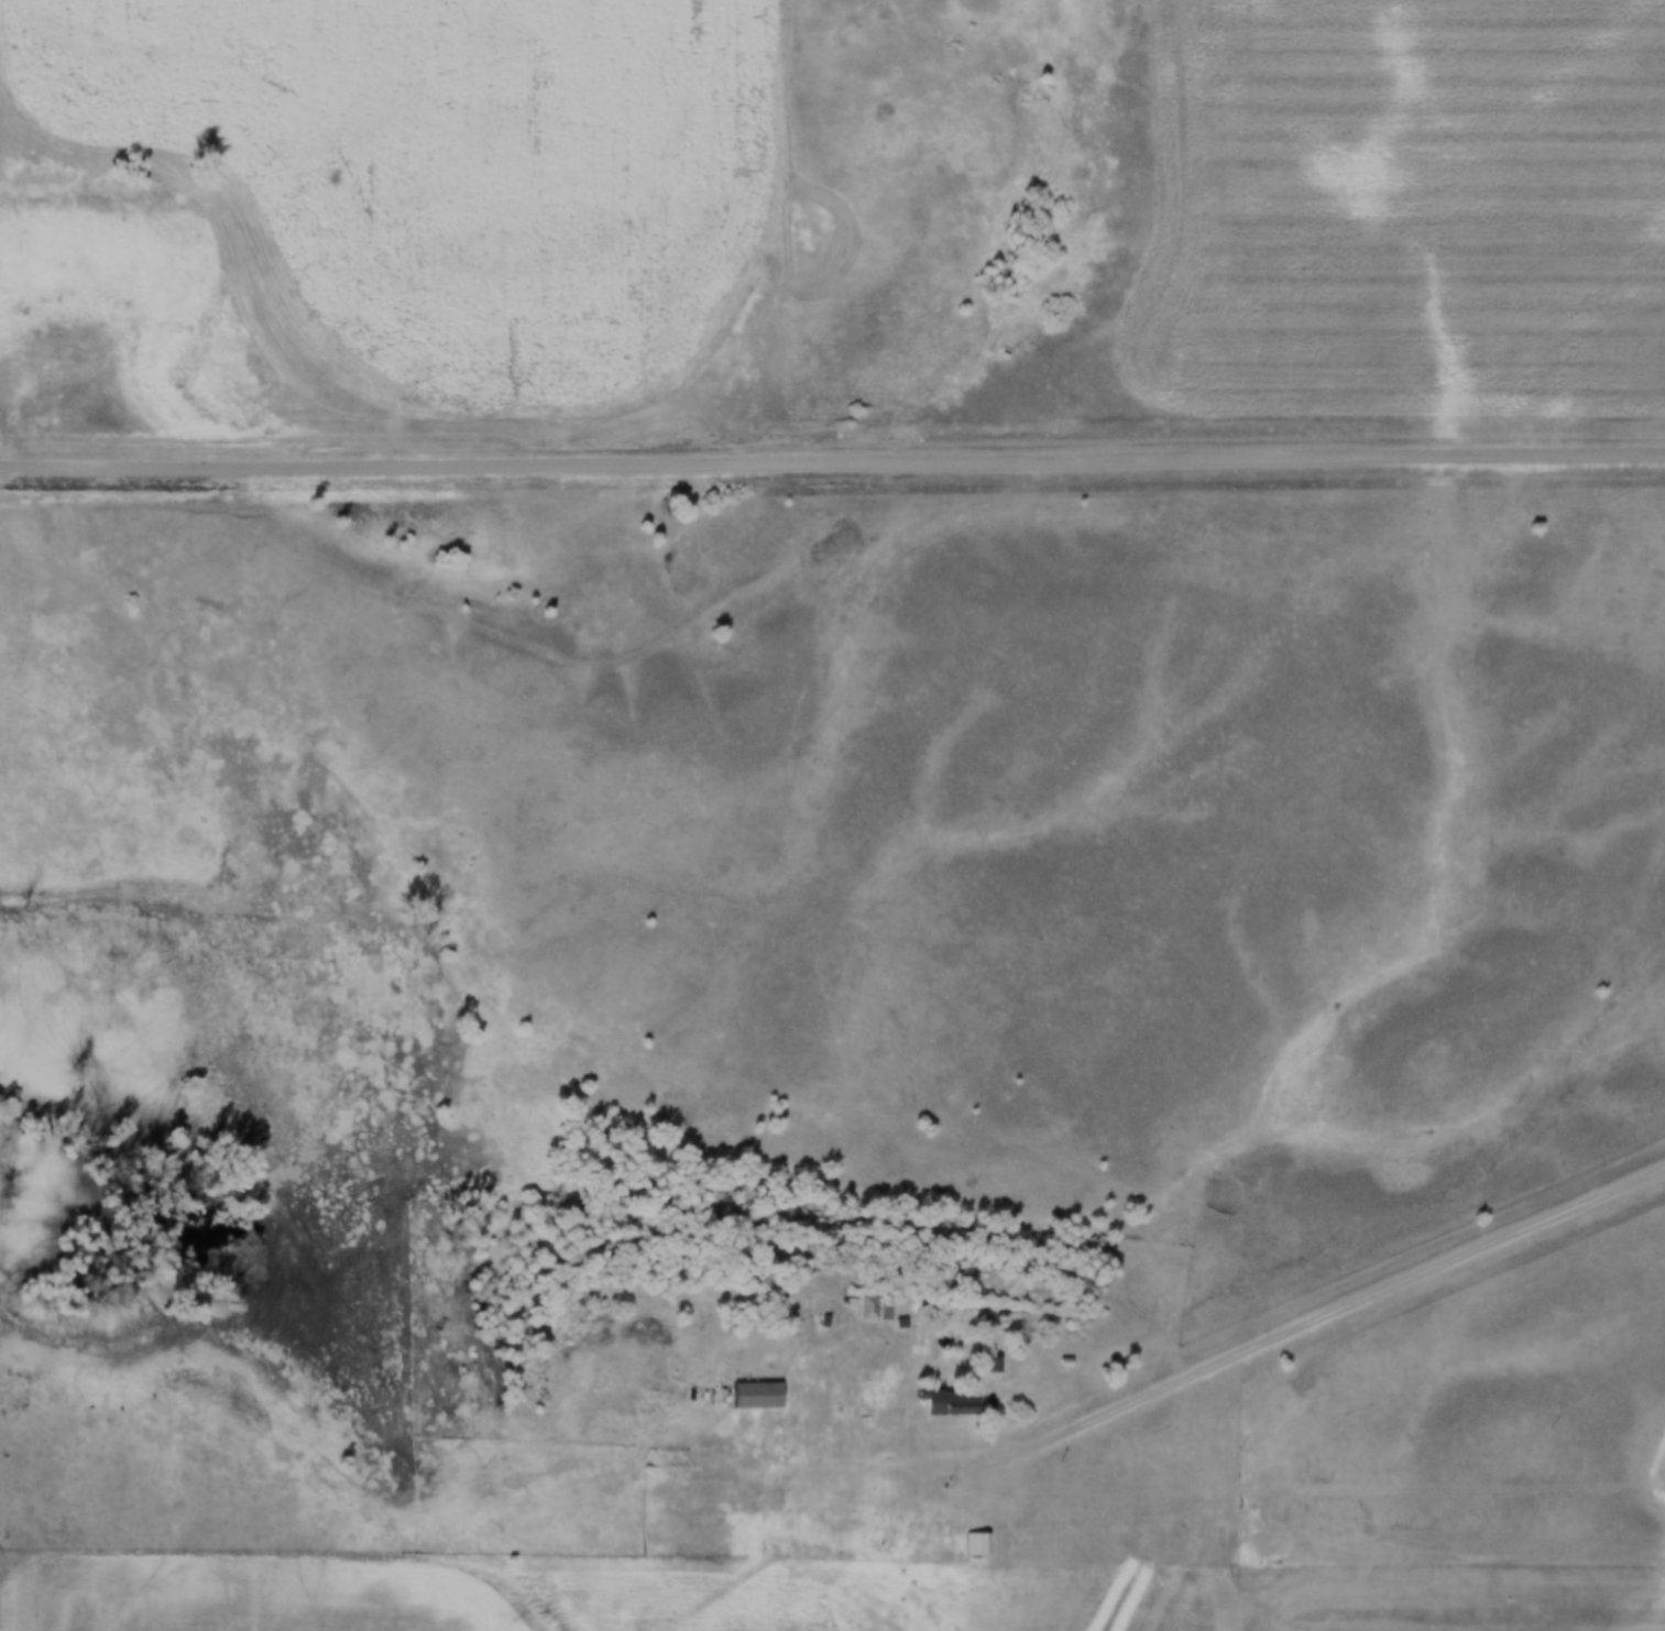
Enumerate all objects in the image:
road: (832, 467)
building: (840, 1303)
building: (855, 1307)
building: (872, 1307)
building: (814, 1322)
road: (1305, 1331)
building: (786, 1340)
road: (832, 1353)
building: (1054, 1362)
building: (981, 1366)
building: (745, 1397)
building: (899, 1402)
building: (938, 1403)
building: (778, 1481)
road: (1334, 1487)
building: (727, 1507)
building: (965, 1547)
road: (833, 1568)
road: (1074, 1607)

